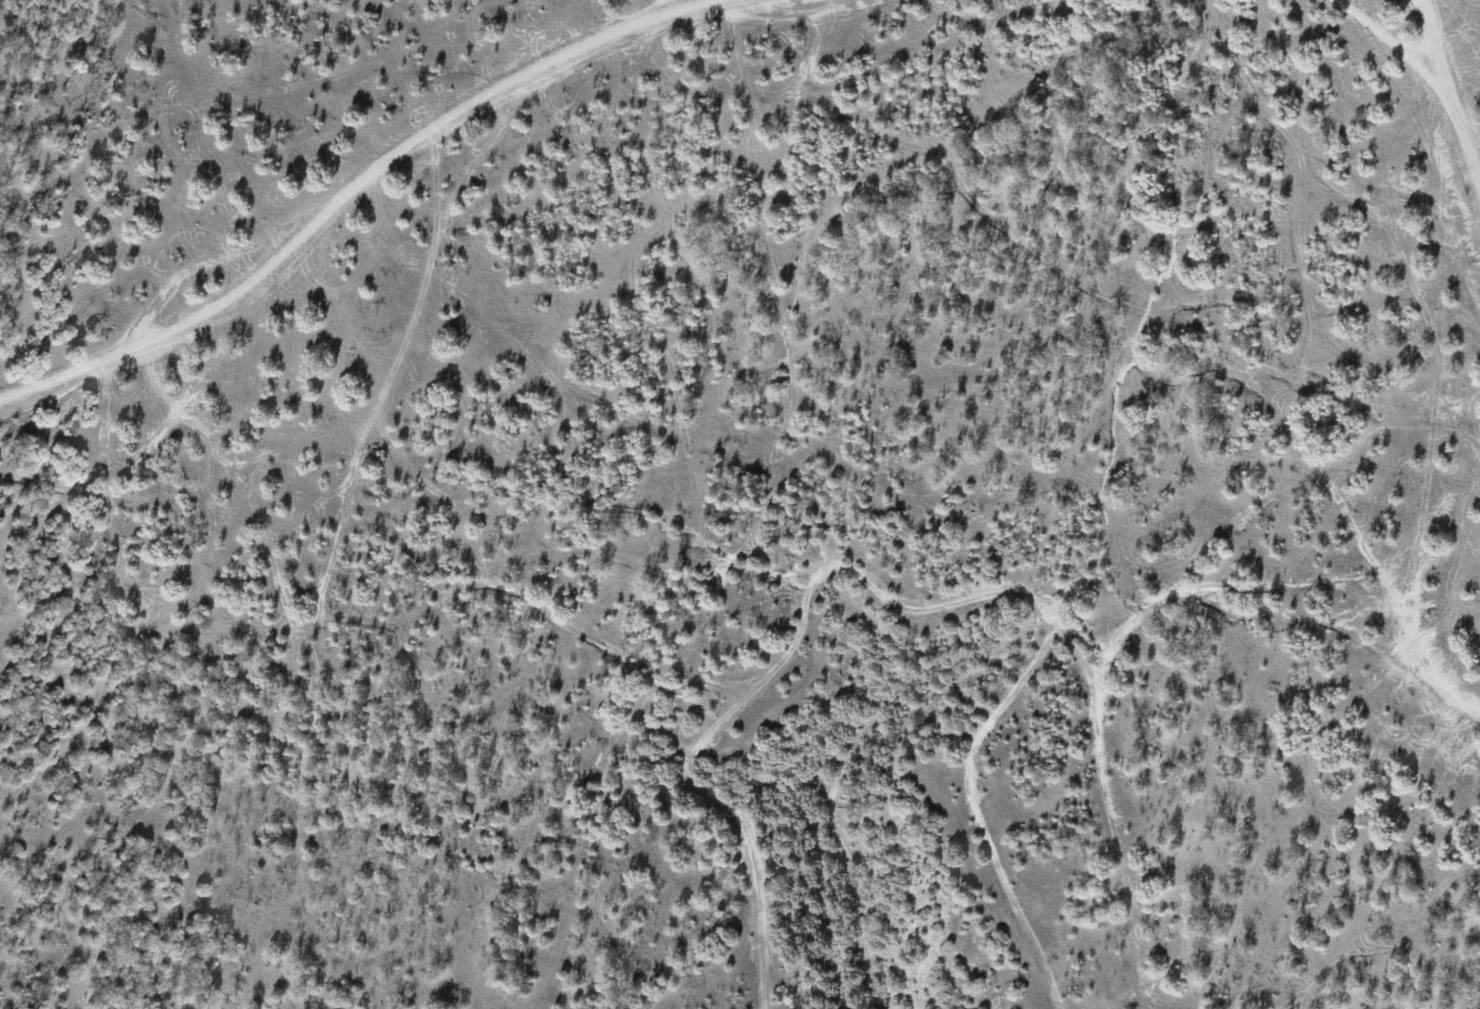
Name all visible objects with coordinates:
road: (1435, 68)
road: (357, 191)

